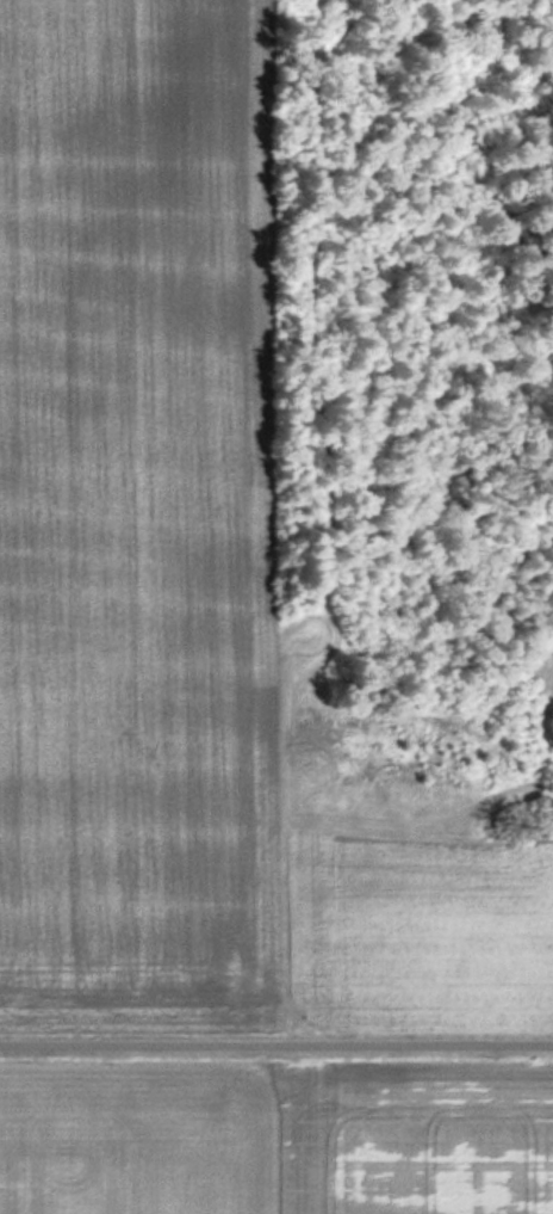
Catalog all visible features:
road: (276, 1043)

